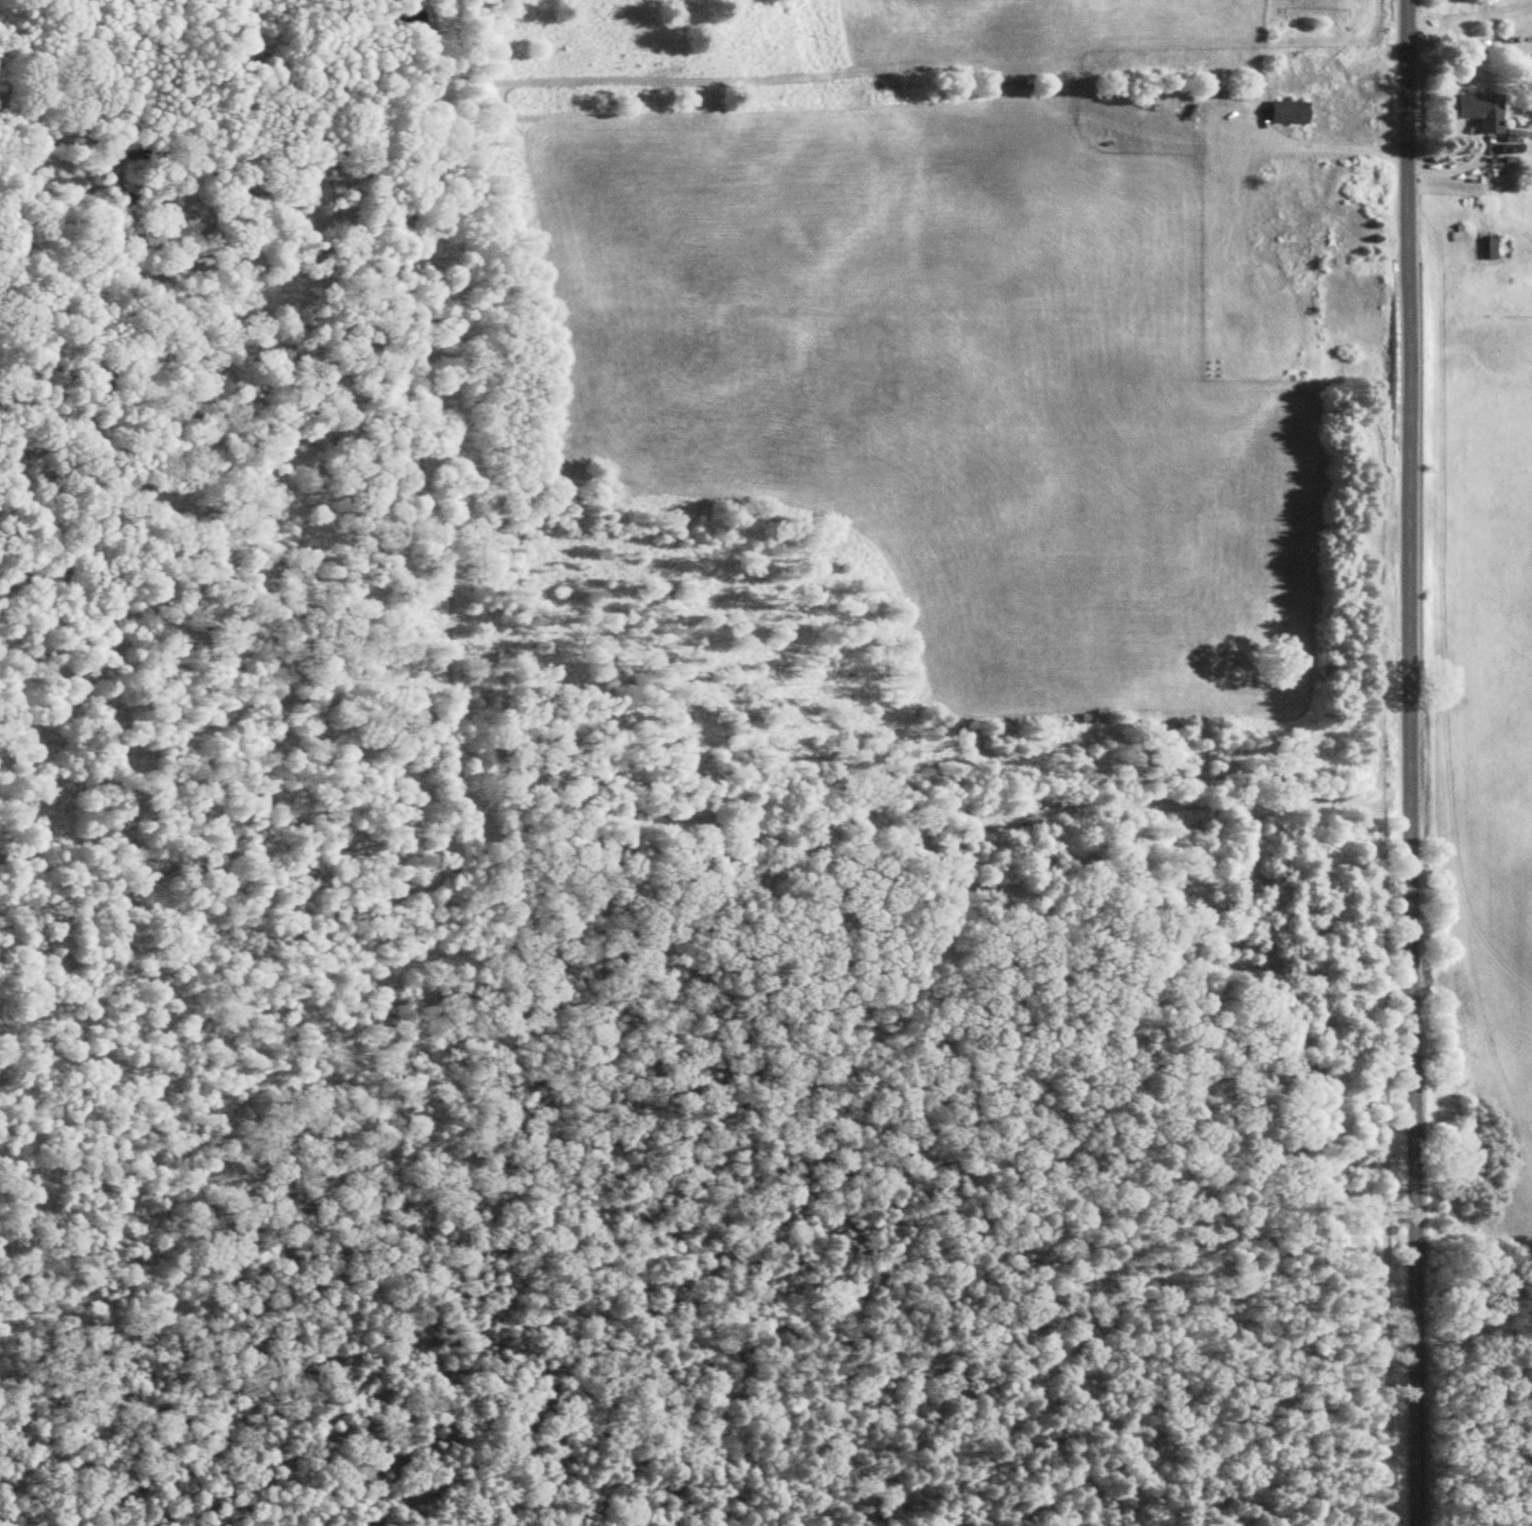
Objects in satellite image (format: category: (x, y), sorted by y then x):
building: (1310, 110)
building: (1477, 111)
building: (1298, 187)
building: (1322, 227)
building: (1489, 247)
road: (1418, 763)
road: (783, 805)

